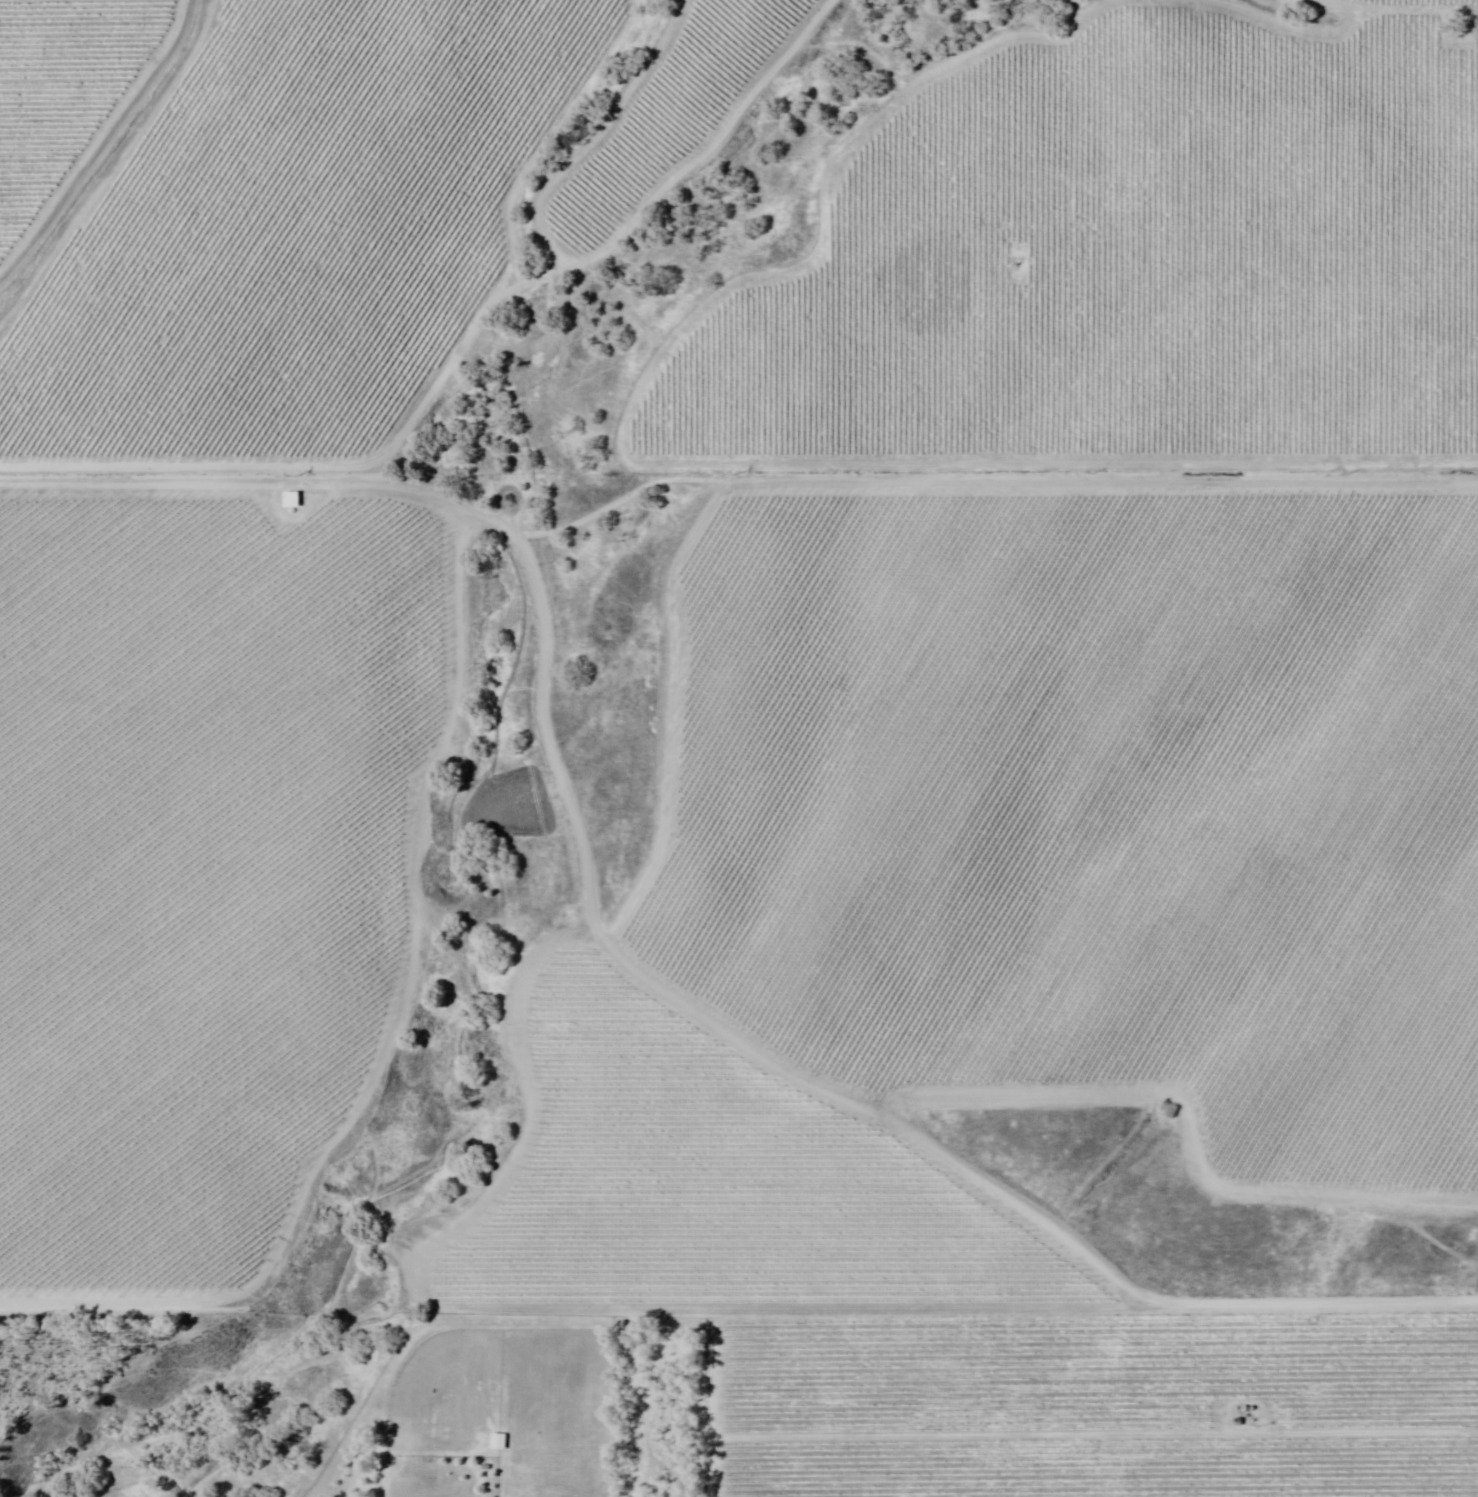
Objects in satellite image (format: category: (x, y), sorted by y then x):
building: (502, 1443)

